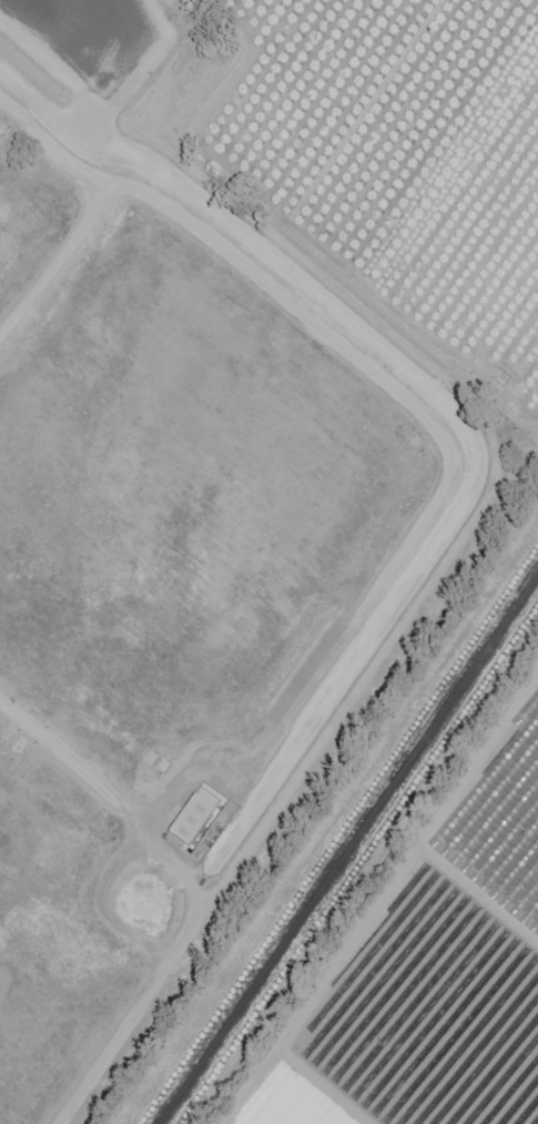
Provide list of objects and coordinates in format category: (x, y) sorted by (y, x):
building: (187, 822)
road: (349, 852)
crop: (427, 962)

